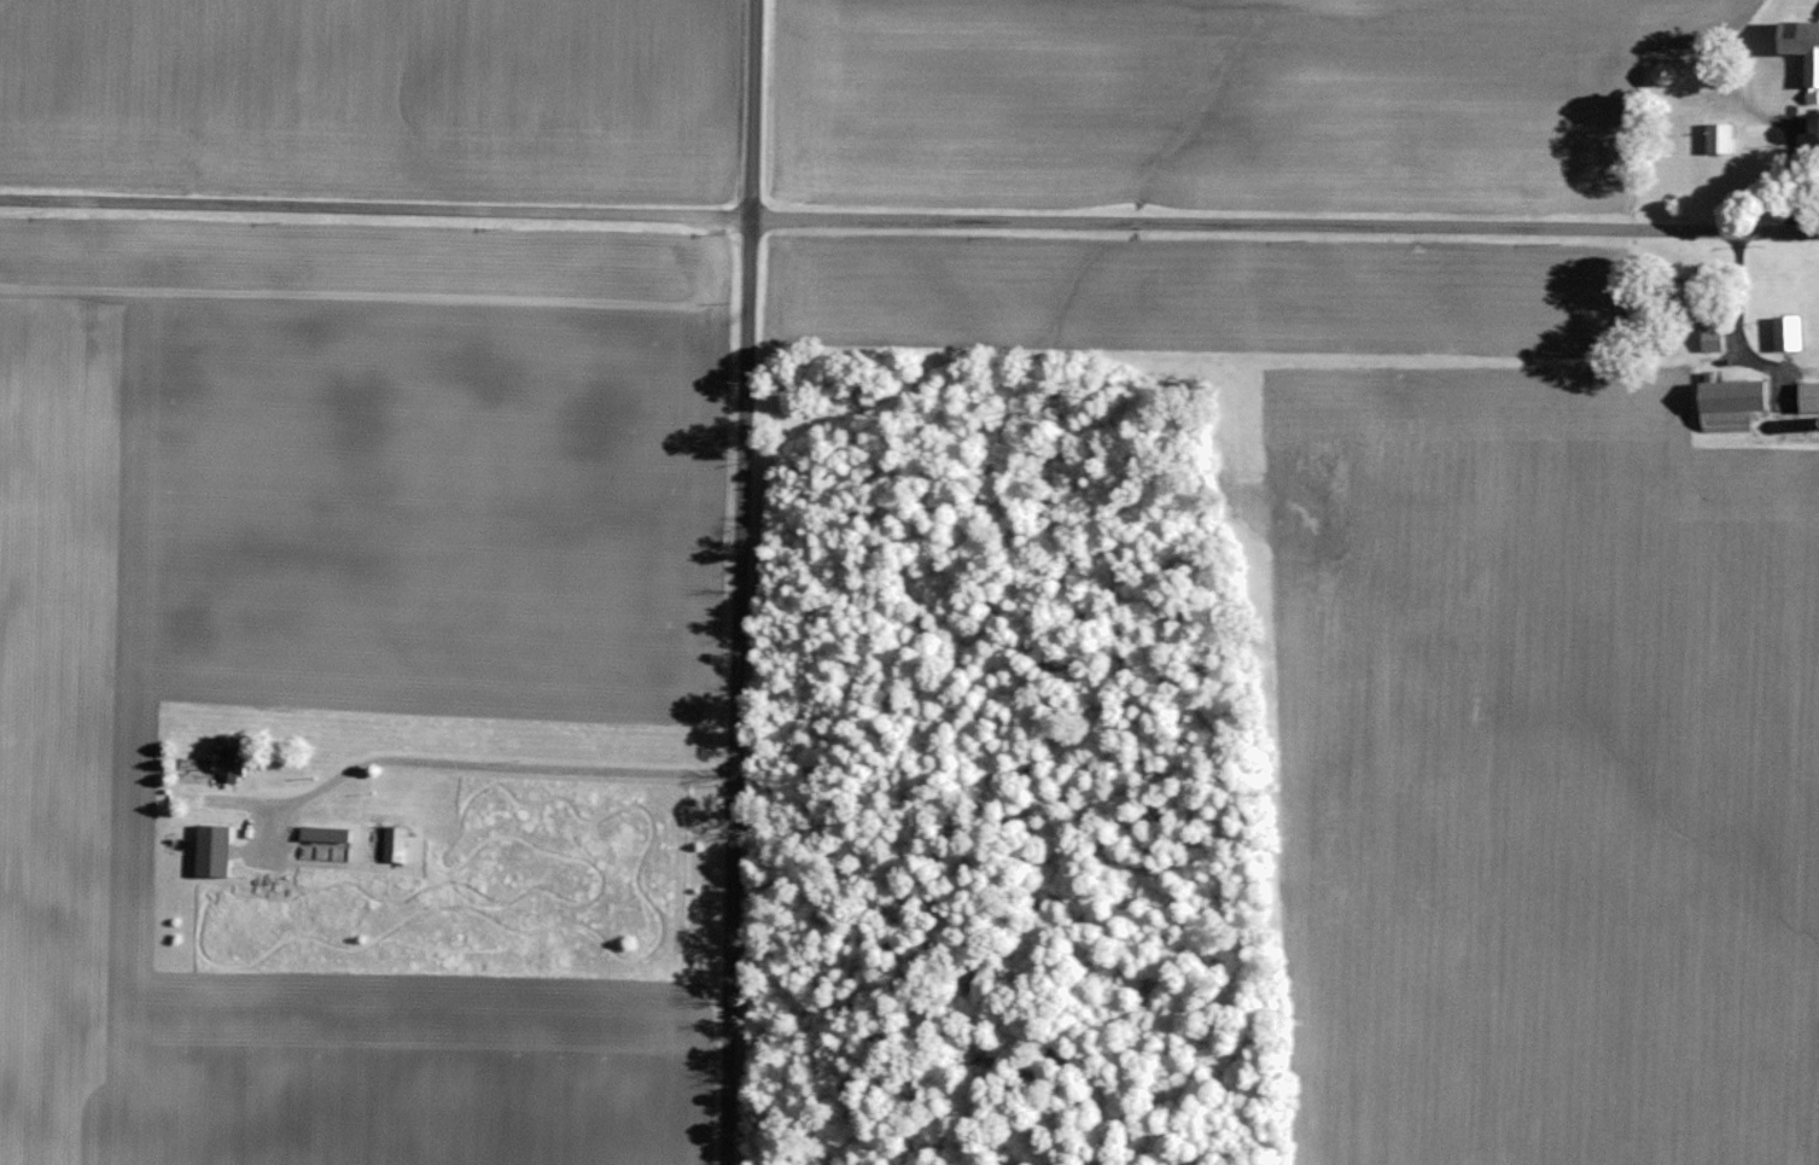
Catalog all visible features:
road: (909, 216)
road: (736, 582)

